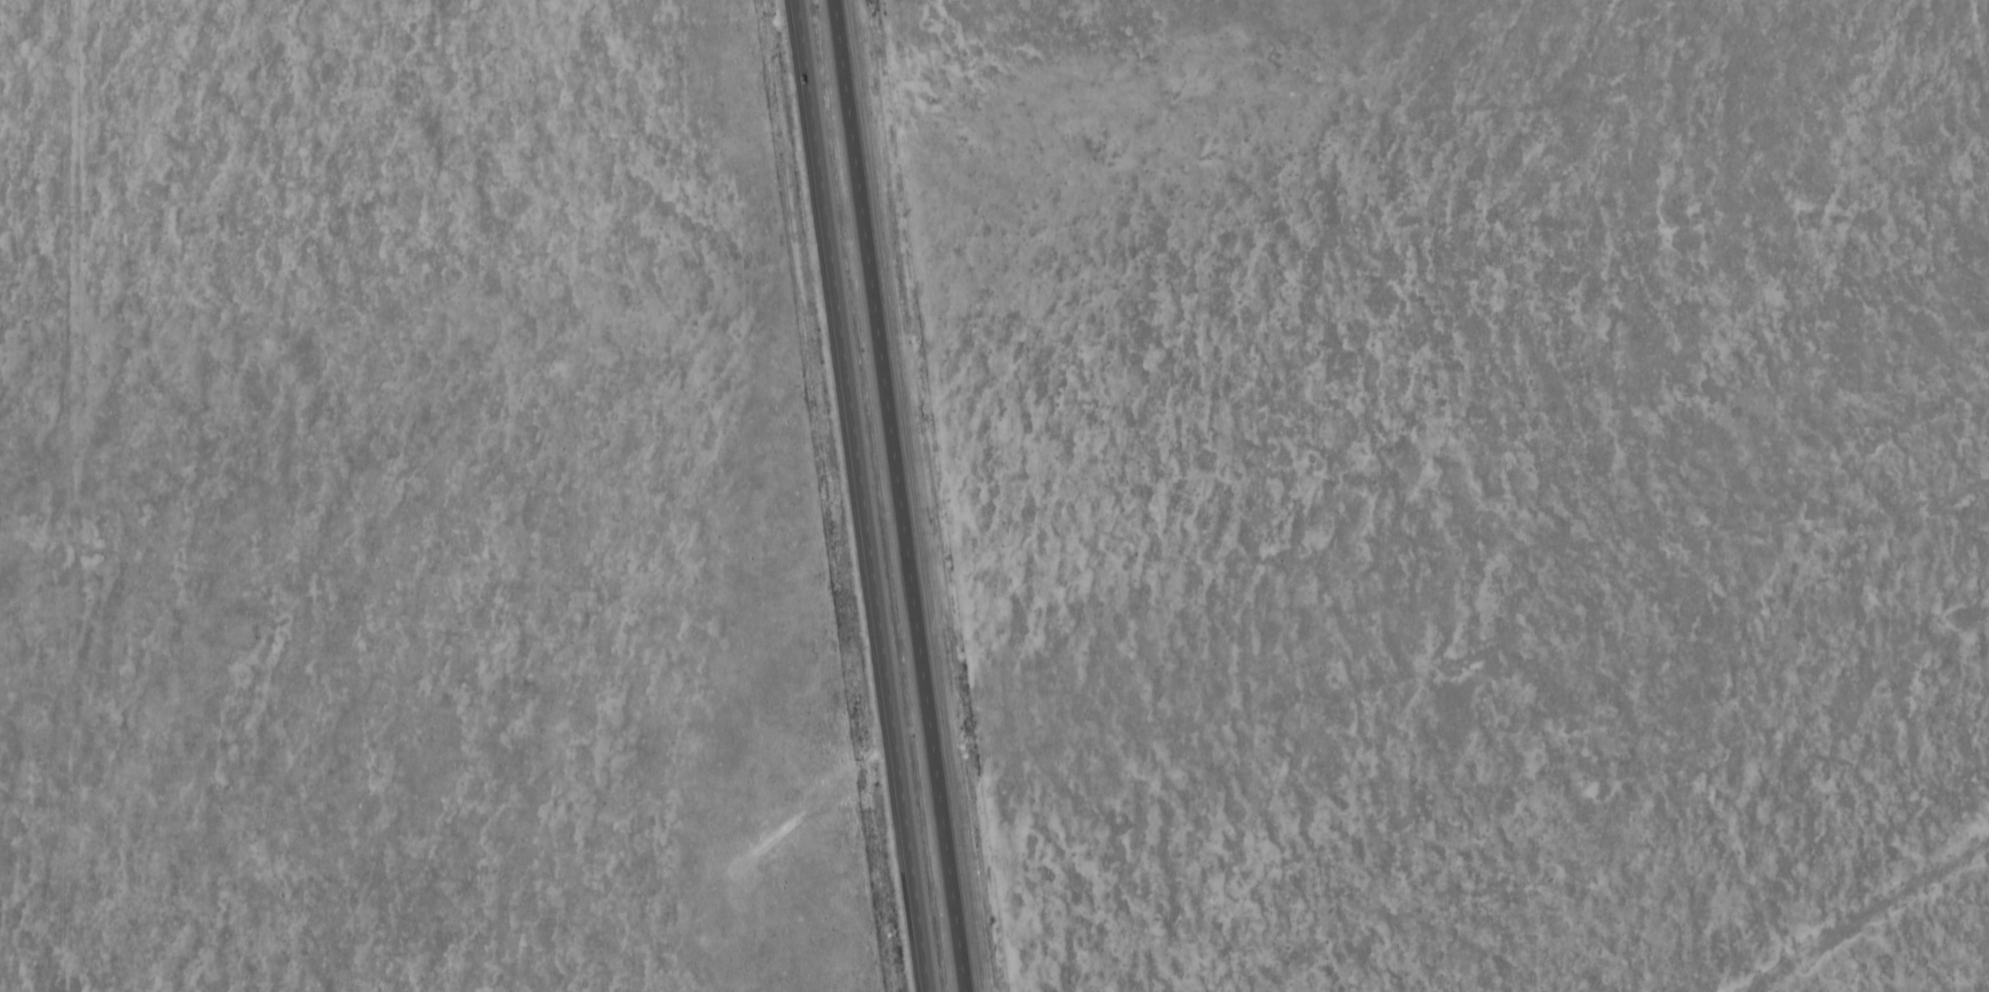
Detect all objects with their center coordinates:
road: (859, 496)
road: (902, 496)

